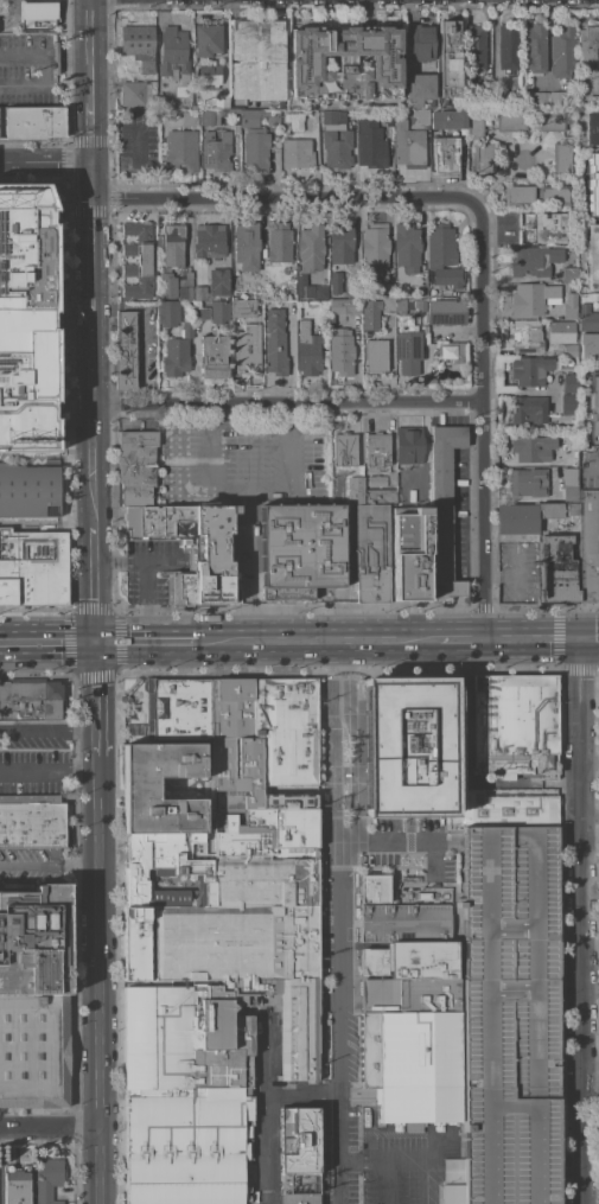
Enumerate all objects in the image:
building: (37, 13)
building: (208, 38)
building: (422, 42)
building: (588, 42)
building: (138, 44)
building: (508, 45)
building: (474, 46)
building: (534, 47)
road: (88, 50)
building: (562, 50)
road: (21, 55)
road: (47, 55)
road: (56, 55)
road: (60, 55)
road: (76, 55)
building: (174, 55)
building: (56, 57)
building: (257, 58)
building: (450, 58)
building: (344, 62)
building: (206, 76)
road: (34, 83)
building: (420, 88)
building: (133, 94)
building: (499, 96)
building: (539, 98)
building: (556, 98)
building: (165, 101)
building: (431, 102)
building: (593, 102)
building: (224, 104)
building: (421, 115)
building: (259, 116)
building: (330, 116)
building: (209, 117)
building: (190, 119)
building: (459, 120)
building: (547, 120)
building: (511, 121)
building: (34, 122)
building: (312, 123)
building: (297, 125)
building: (592, 127)
building: (236, 128)
building: (568, 130)
road: (90, 133)
building: (534, 136)
building: (408, 144)
building: (372, 146)
building: (256, 148)
building: (337, 148)
building: (180, 149)
building: (216, 151)
building: (297, 153)
building: (445, 154)
building: (483, 158)
building: (562, 158)
road: (45, 165)
road: (93, 184)
building: (593, 184)
building: (518, 195)
building: (554, 196)
road: (283, 198)
building: (549, 227)
building: (209, 241)
building: (279, 242)
building: (340, 242)
building: (173, 244)
building: (247, 244)
building: (375, 246)
building: (407, 246)
building: (311, 248)
building: (442, 255)
building: (592, 256)
building: (136, 260)
building: (534, 260)
building: (569, 274)
building: (218, 281)
building: (334, 281)
building: (572, 286)
building: (173, 287)
building: (292, 289)
building: (269, 291)
building: (311, 291)
building: (200, 292)
building: (381, 293)
building: (533, 298)
building: (351, 300)
building: (598, 300)
road: (94, 301)
building: (334, 305)
building: (397, 305)
building: (421, 305)
building: (569, 305)
building: (242, 307)
building: (219, 311)
building: (446, 311)
building: (167, 312)
building: (376, 312)
building: (202, 313)
building: (27, 318)
building: (587, 318)
building: (561, 331)
building: (525, 336)
building: (275, 342)
building: (590, 345)
building: (308, 348)
building: (248, 349)
building: (340, 349)
building: (448, 349)
building: (126, 350)
building: (569, 350)
building: (408, 351)
building: (177, 352)
building: (375, 355)
building: (214, 356)
building: (530, 369)
road: (292, 376)
building: (569, 382)
road: (289, 400)
building: (568, 403)
building: (593, 406)
building: (528, 409)
road: (484, 420)
building: (409, 445)
building: (533, 447)
building: (377, 448)
building: (345, 450)
road: (47, 453)
road: (594, 464)
building: (568, 476)
building: (391, 477)
road: (95, 479)
road: (209, 479)
building: (376, 480)
building: (529, 482)
building: (28, 490)
building: (355, 490)
road: (257, 491)
building: (569, 495)
building: (444, 509)
building: (550, 509)
parking lot: (458, 512)
building: (516, 518)
road: (47, 521)
building: (177, 524)
building: (587, 542)
building: (370, 544)
building: (301, 548)
building: (409, 555)
building: (32, 567)
building: (559, 569)
road: (149, 573)
road: (94, 600)
road: (249, 620)
road: (461, 622)
road: (461, 638)
road: (535, 638)
traffic signals: (582, 638)
road: (591, 638)
road: (146, 641)
road: (317, 641)
road: (46, 642)
traffic signals: (94, 642)
building: (31, 700)
road: (90, 700)
building: (178, 708)
building: (135, 712)
road: (350, 712)
road: (330, 724)
building: (517, 725)
building: (287, 728)
road: (45, 730)
building: (236, 740)
building: (408, 745)
road: (463, 766)
road: (32, 772)
road: (77, 773)
building: (141, 792)
building: (288, 801)
building: (344, 801)
building: (506, 809)
road: (356, 816)
building: (32, 820)
road: (332, 822)
building: (263, 828)
road: (337, 840)
road: (401, 841)
road: (433, 856)
building: (154, 860)
road: (28, 868)
building: (199, 874)
building: (254, 880)
building: (372, 888)
building: (173, 897)
building: (304, 917)
road: (584, 920)
building: (402, 923)
building: (136, 943)
building: (224, 945)
building: (421, 958)
building: (372, 961)
road: (90, 981)
building: (409, 994)
building: (34, 996)
building: (509, 1018)
parking garage: (509, 1018)
road: (340, 1023)
building: (299, 1030)
building: (158, 1034)
building: (221, 1037)
building: (368, 1050)
road: (592, 1063)
building: (418, 1068)
road: (301, 1092)
parking lot: (508, 1094)
road: (262, 1106)
road: (45, 1125)
building: (298, 1139)
building: (189, 1145)
road: (441, 1148)
road: (404, 1159)
building: (47, 1179)
building: (298, 1181)
road: (381, 1181)
building: (17, 1184)
building: (297, 1198)

